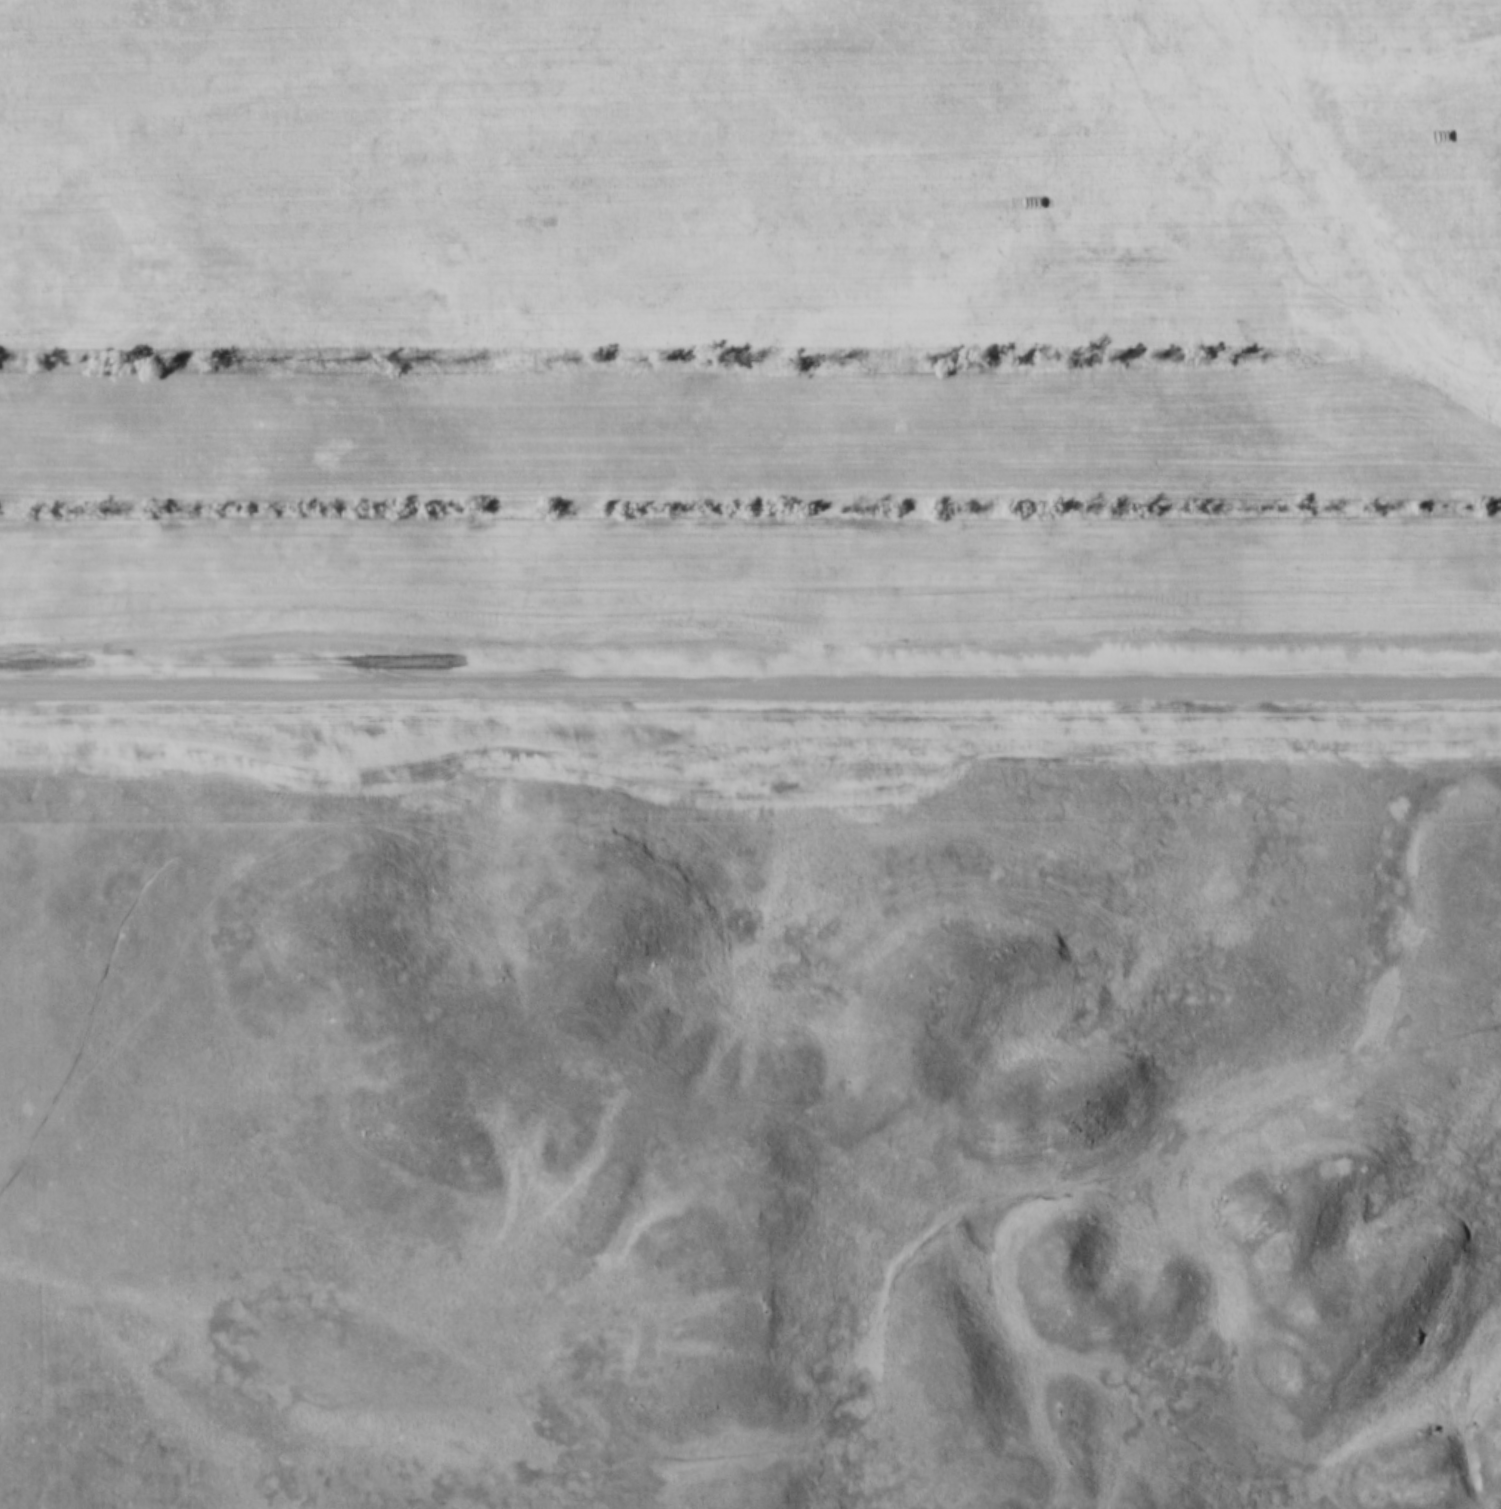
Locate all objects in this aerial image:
road: (750, 692)

